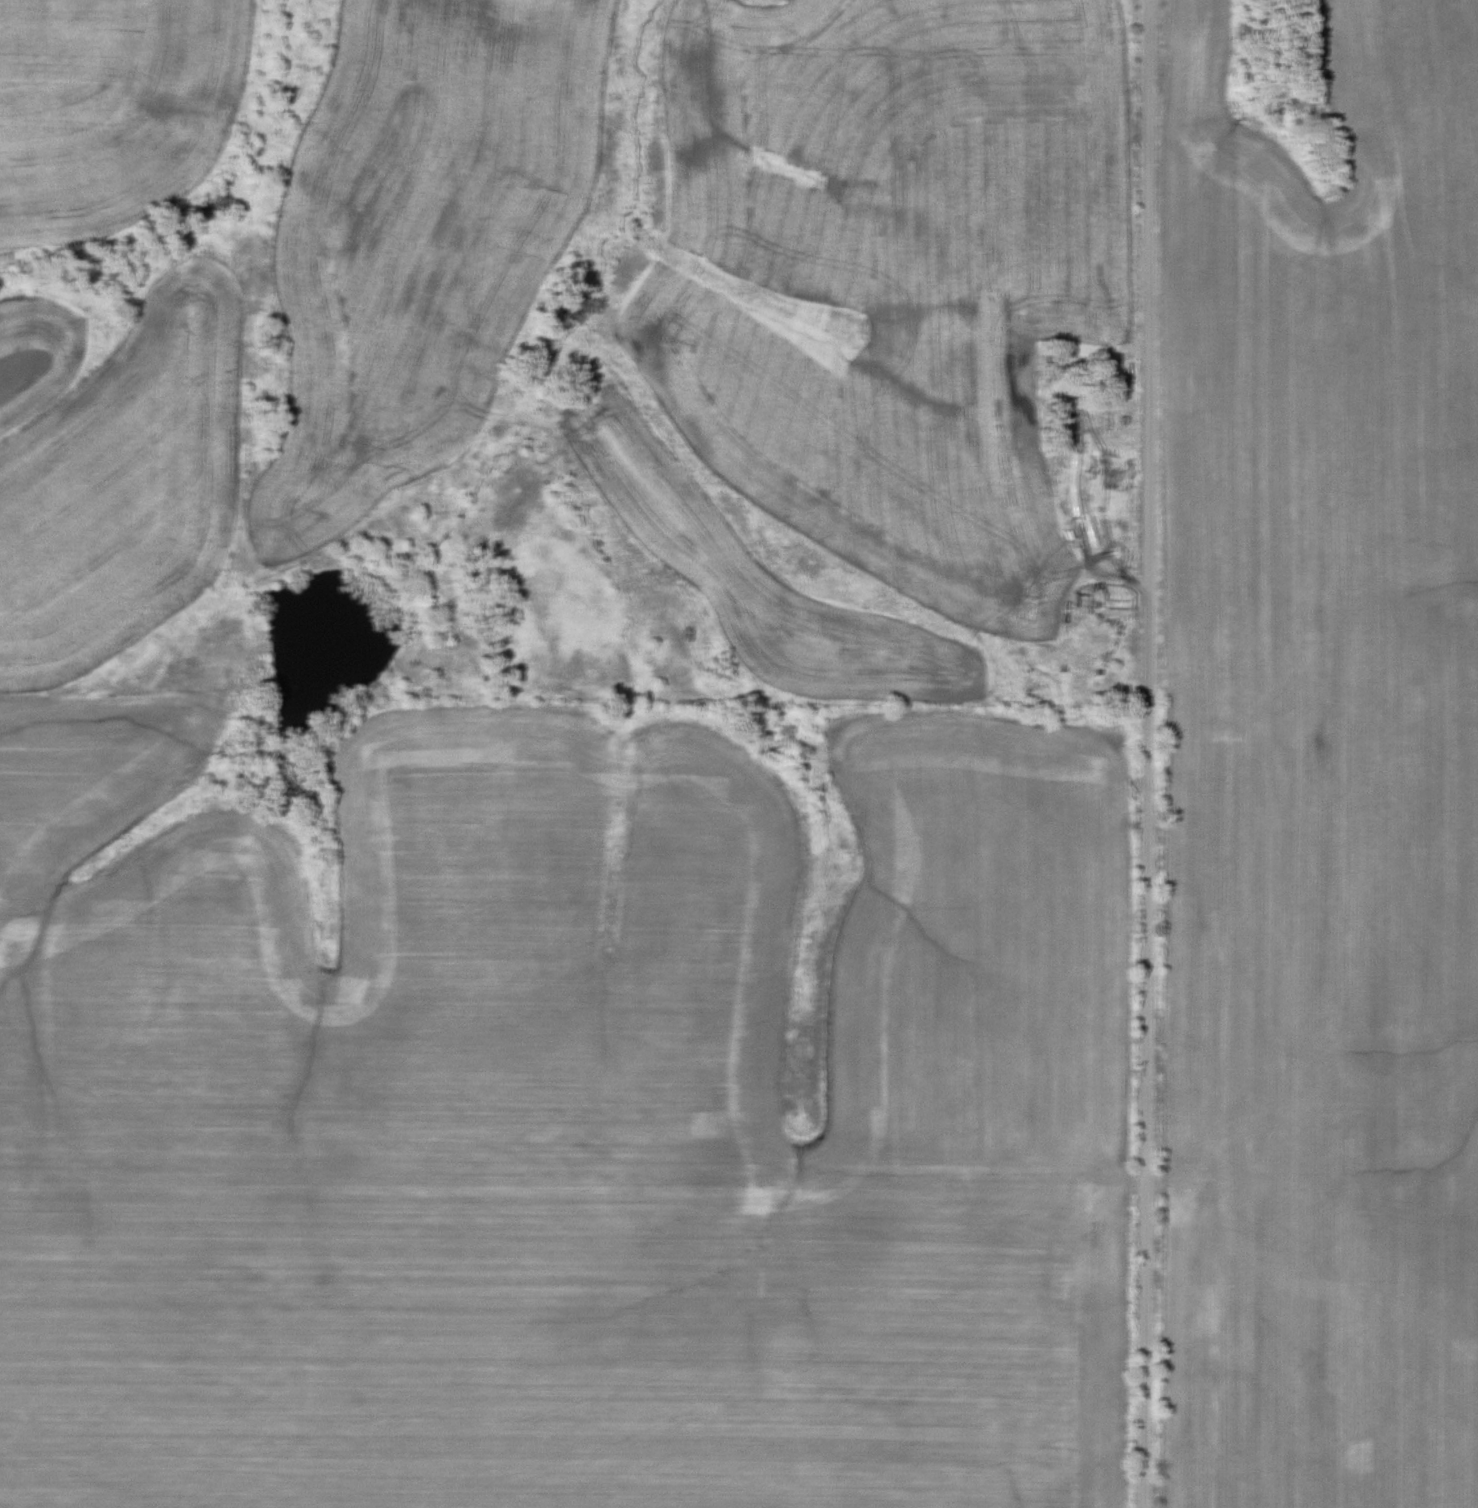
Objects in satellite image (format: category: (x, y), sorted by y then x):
building: (1084, 601)
road: (1148, 753)

